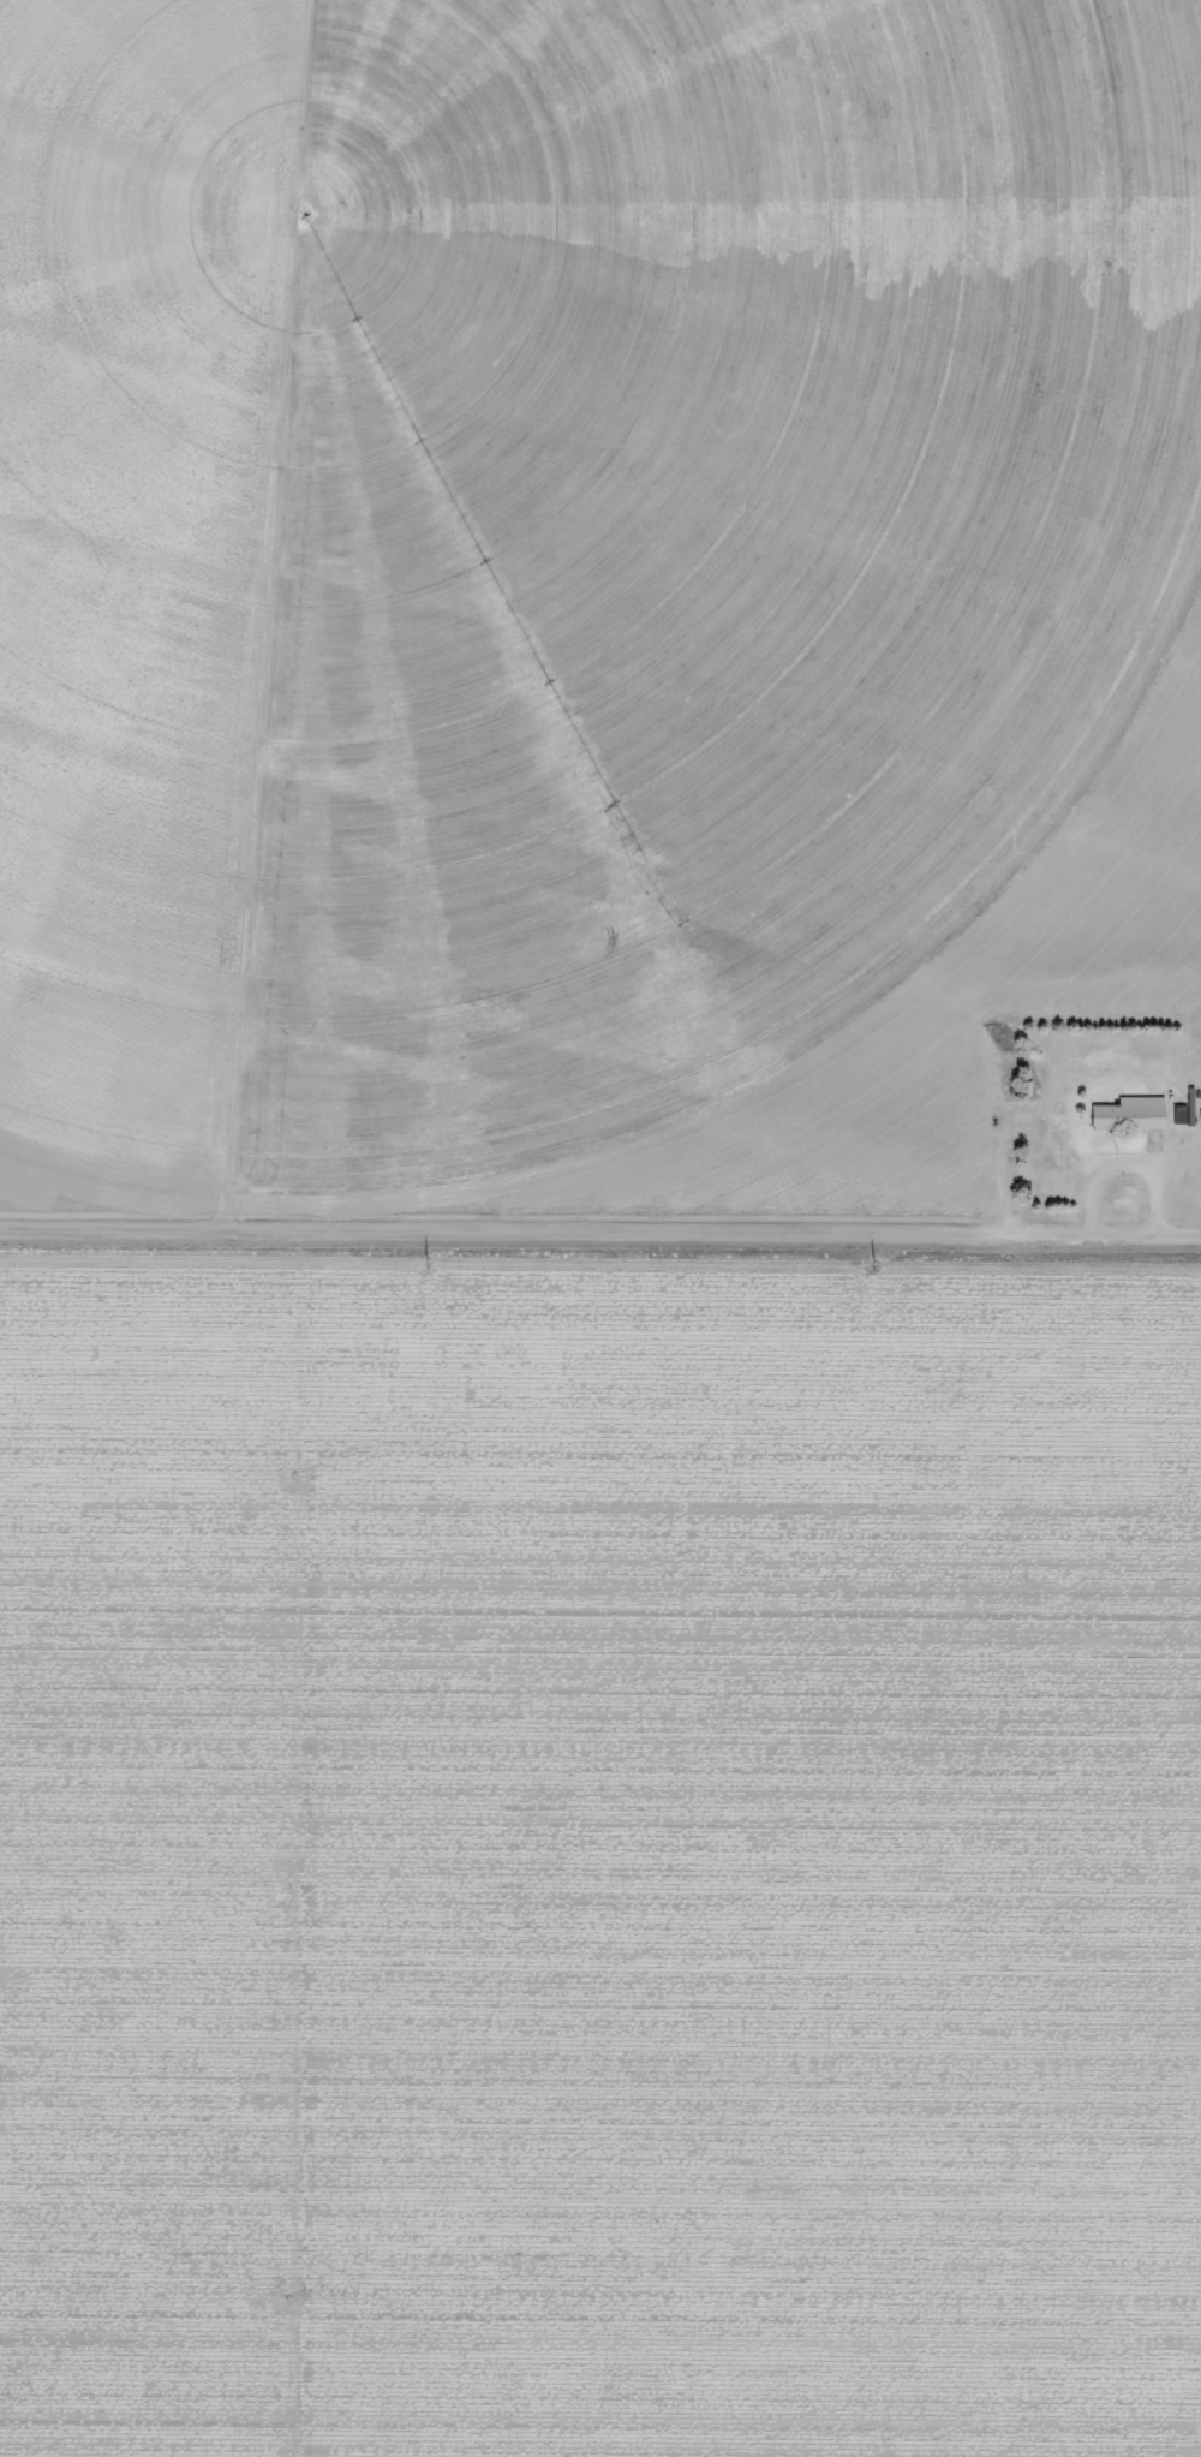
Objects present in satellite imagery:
road: (1122, 1165)
road: (600, 1246)
power tower: (423, 1264)
power tower: (867, 1264)

